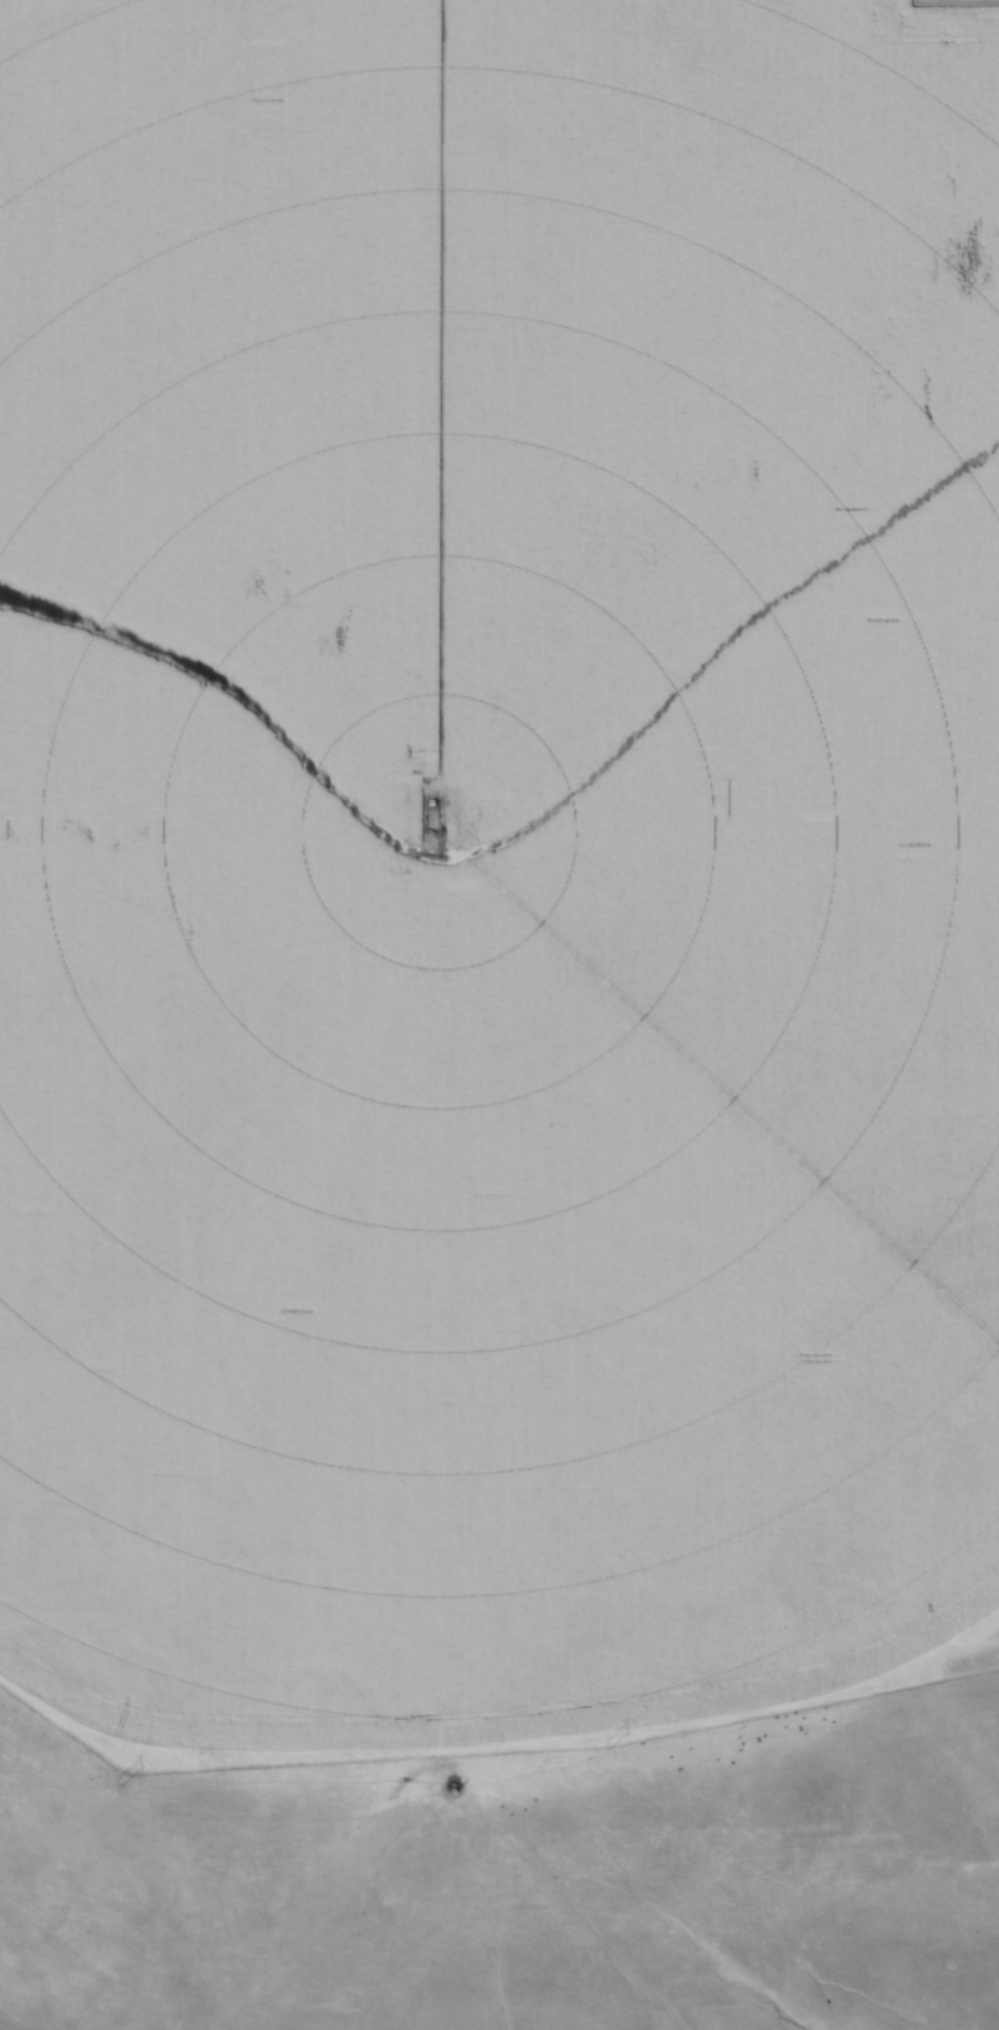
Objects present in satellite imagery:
power tower: (604, 1743)
power tower: (116, 1781)

